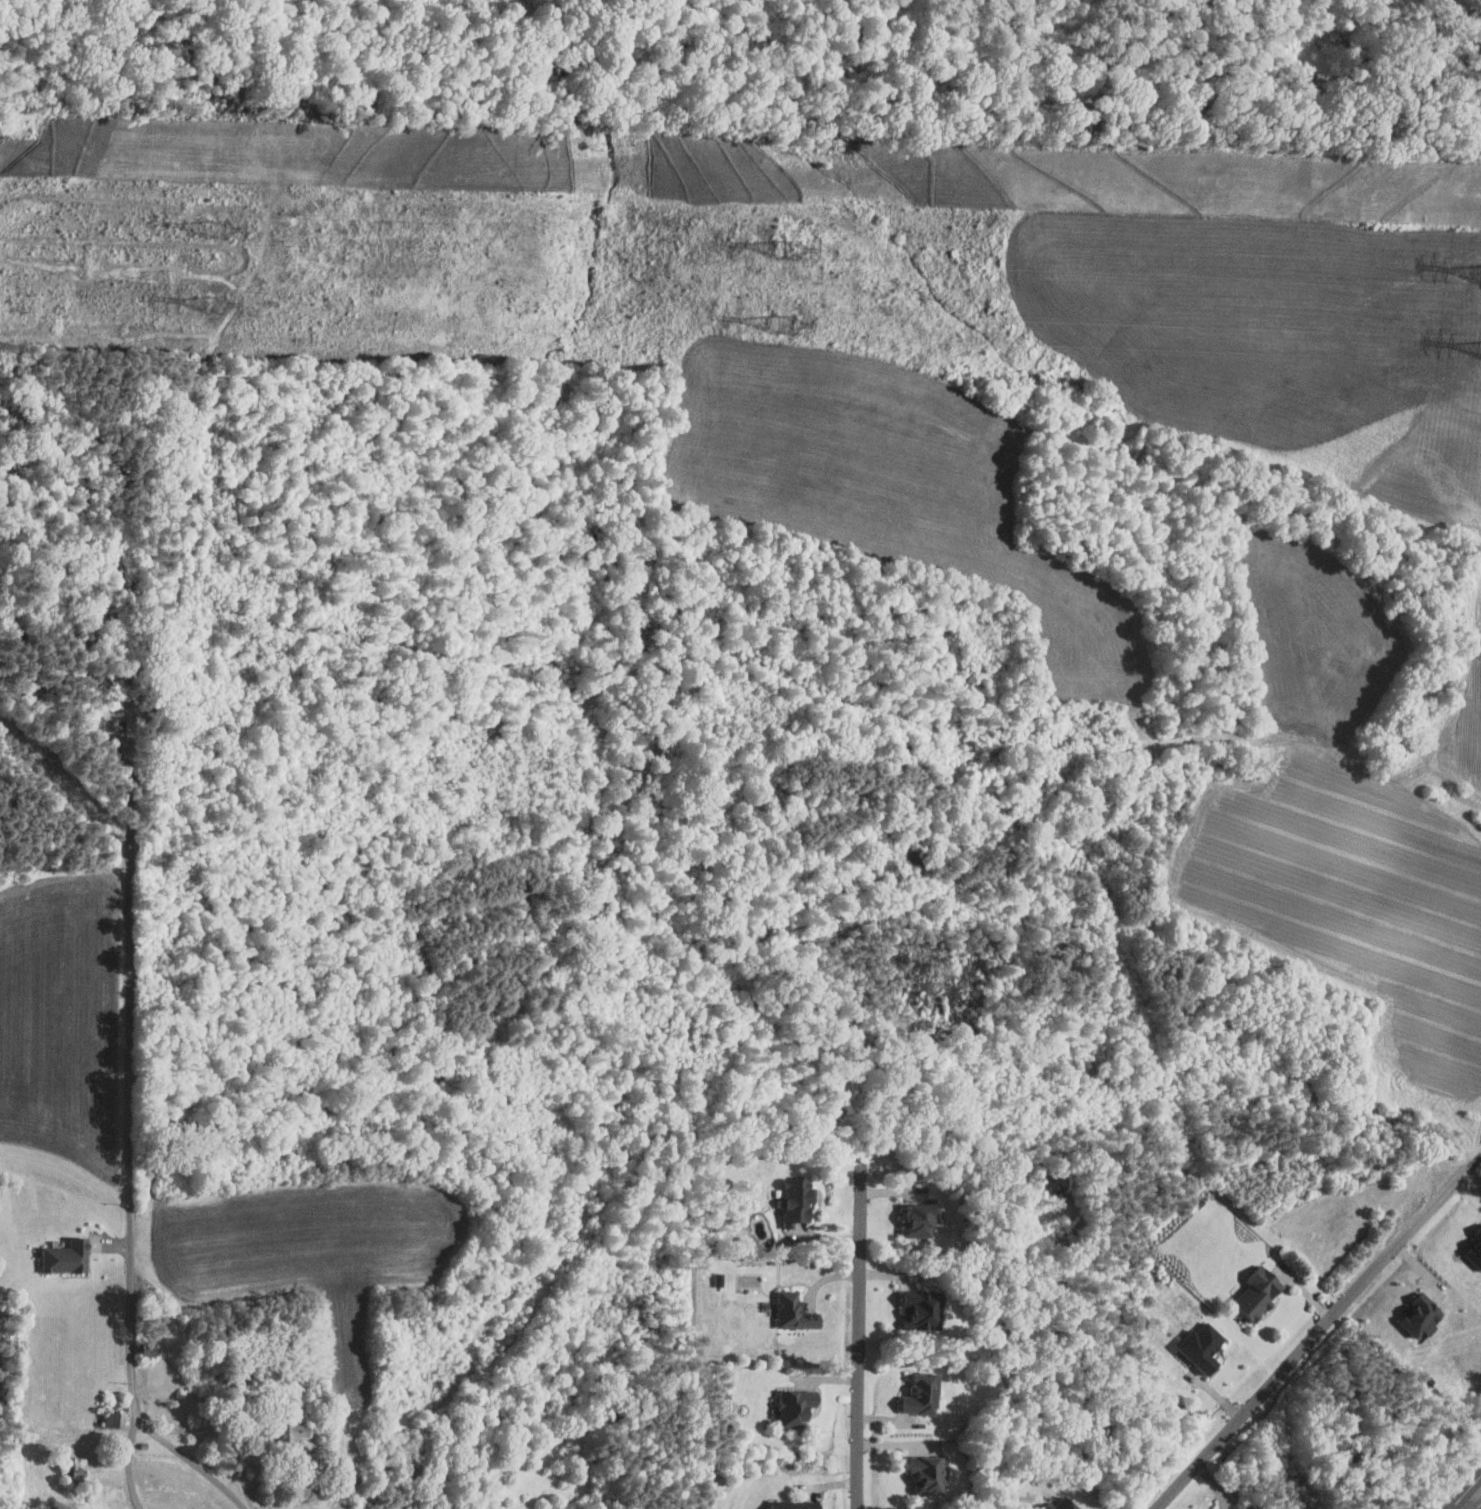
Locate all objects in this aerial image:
power tower: (223, 228)
power tower: (793, 251)
power tower: (217, 306)
power tower: (786, 325)
road: (114, 753)
road: (1090, 759)
road: (1475, 1161)
building: (798, 1199)
building: (922, 1221)
road: (131, 1230)
building: (67, 1256)
building: (1259, 1293)
building: (922, 1309)
building: (794, 1311)
building: (1422, 1315)
road: (859, 1336)
road: (1313, 1337)
building: (1203, 1346)
building: (923, 1394)
building: (796, 1406)
building: (294, 1431)
road: (125, 1457)
building: (80, 1469)
building: (928, 1473)
road: (1467, 1493)
building: (1043, 1499)
building: (795, 1505)
road: (1479, 1507)

